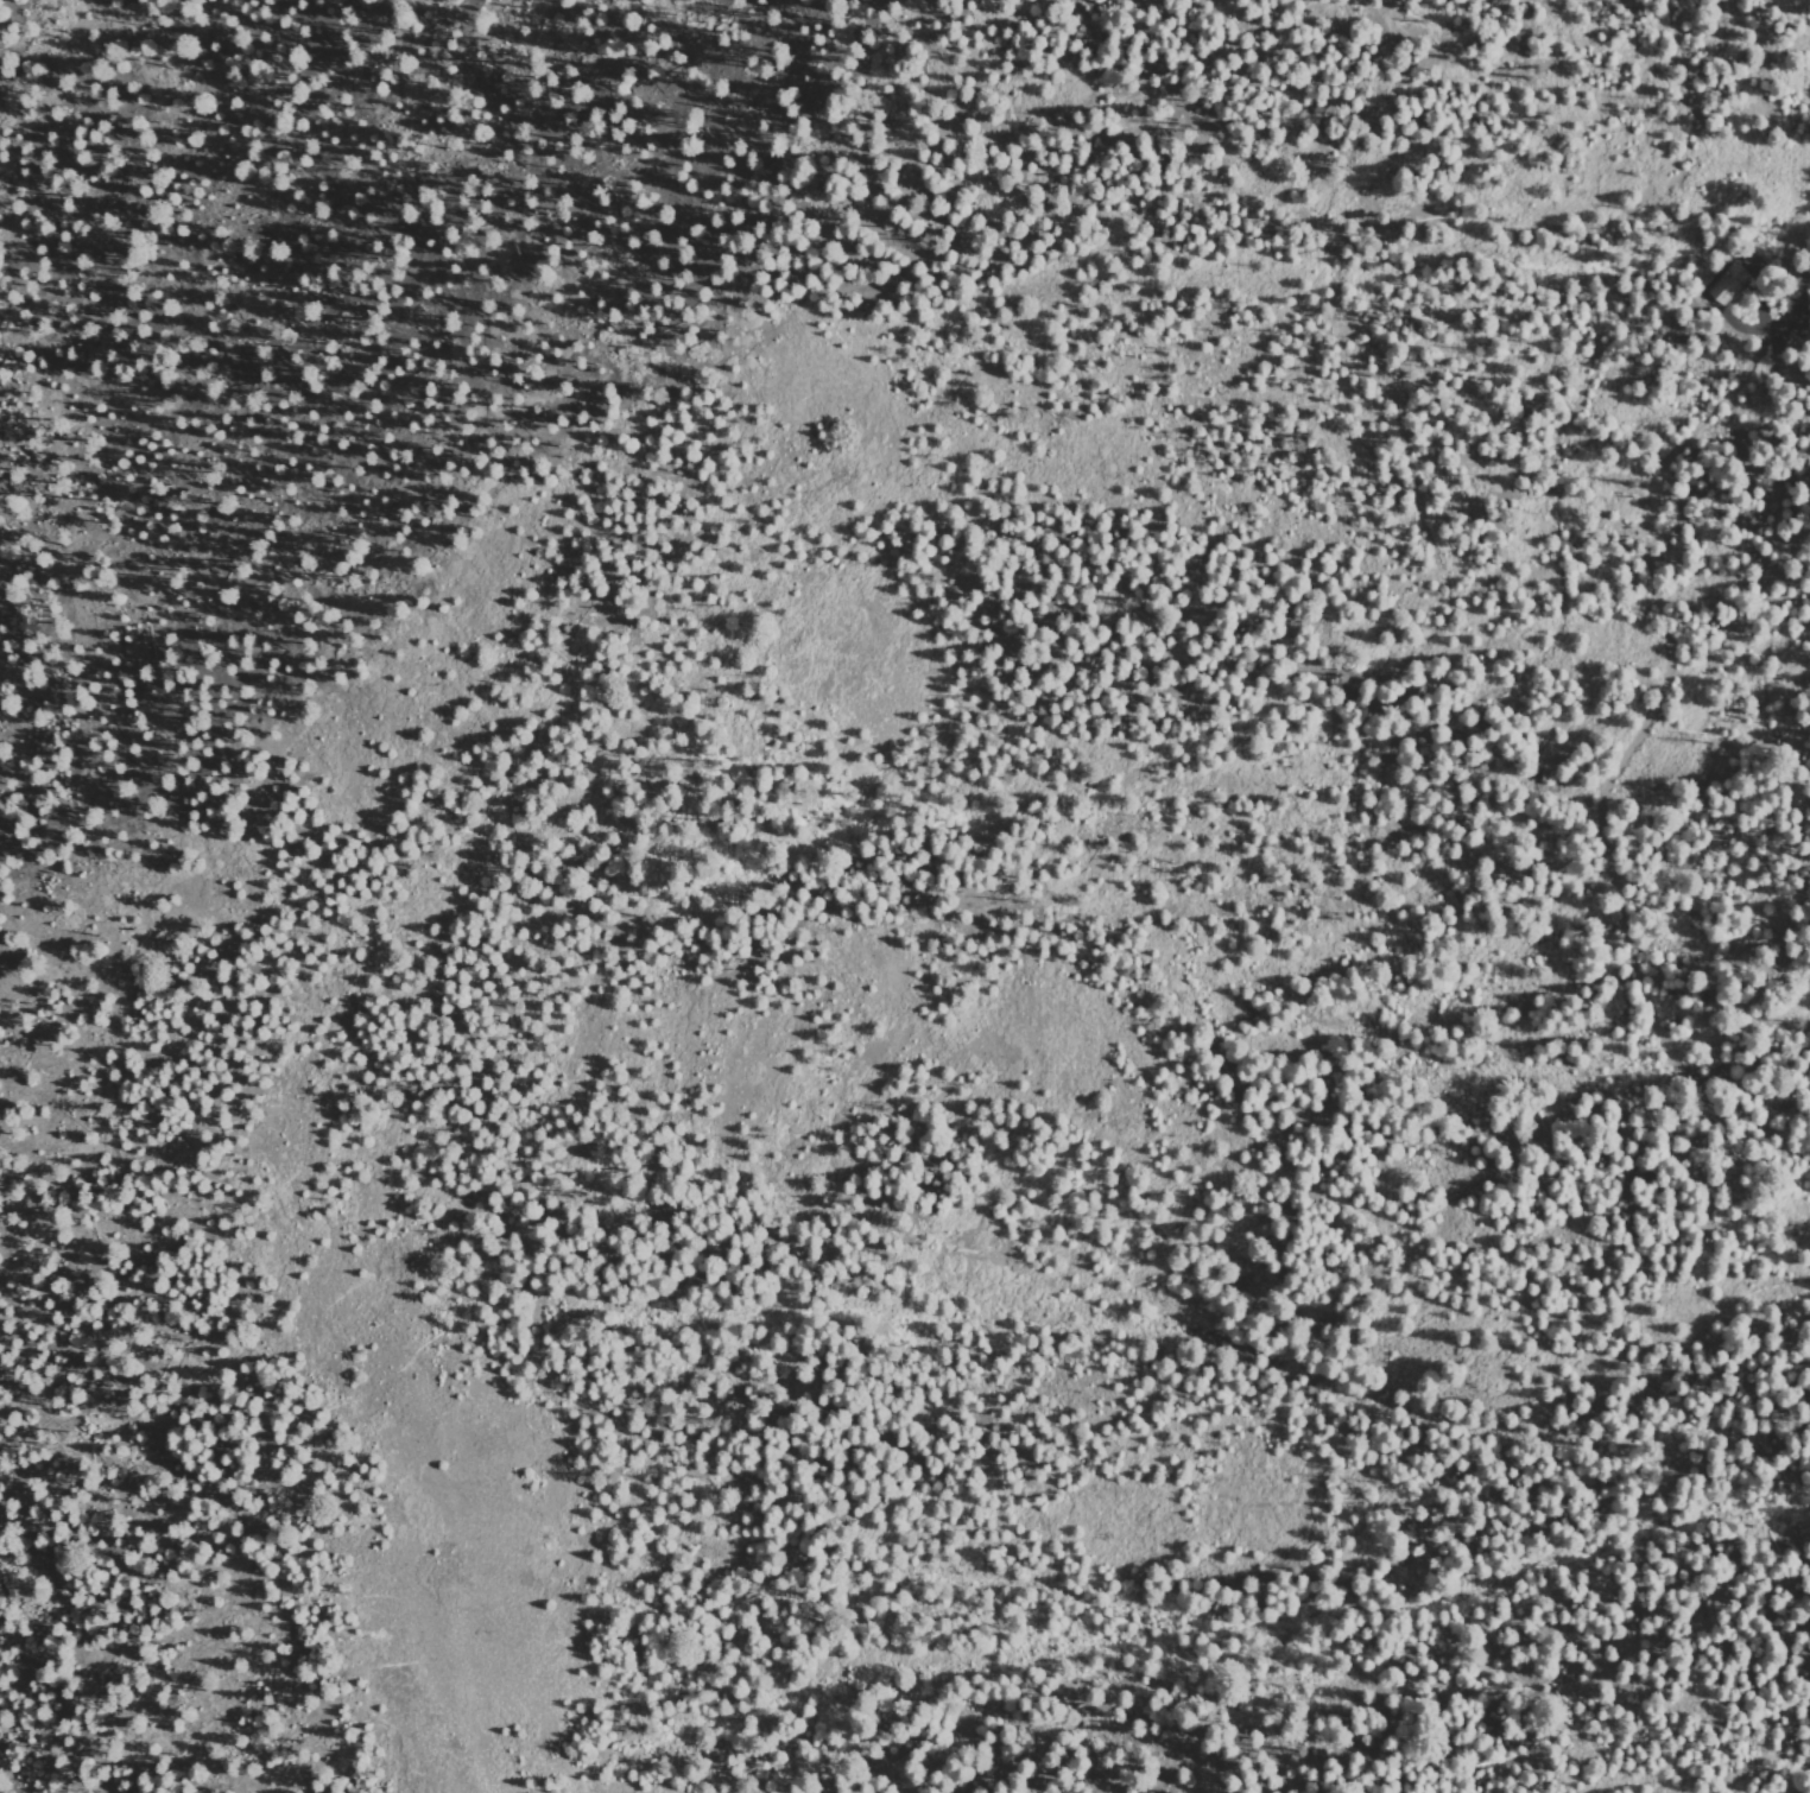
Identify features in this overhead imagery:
building: (1720, 289)
road: (1791, 297)
road: (1672, 684)

